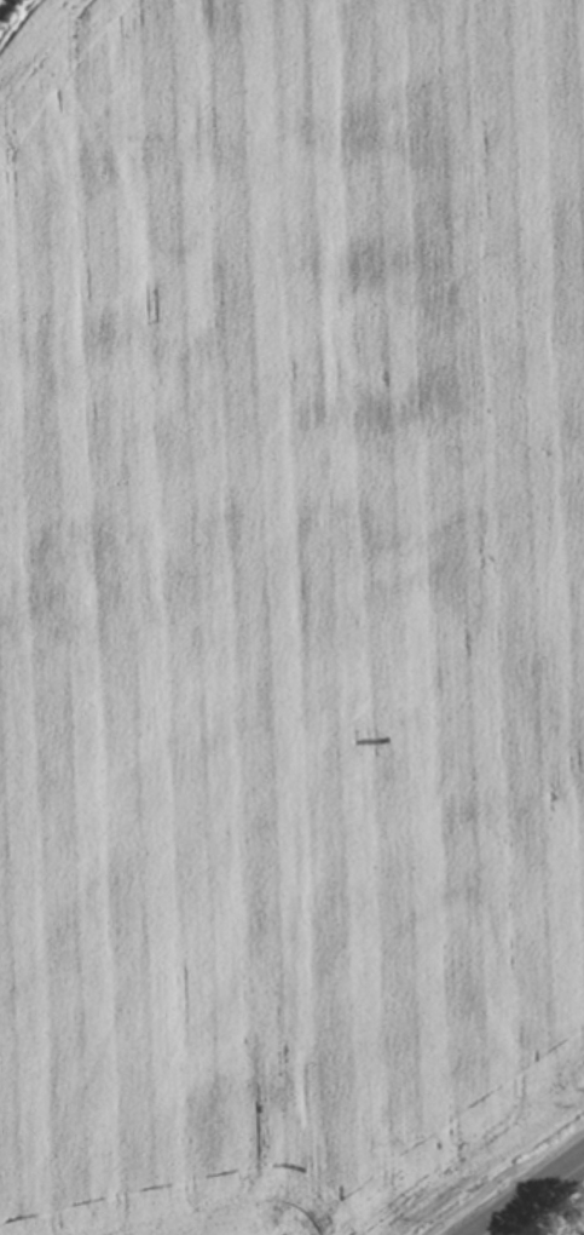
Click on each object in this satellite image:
road: (532, 1197)

